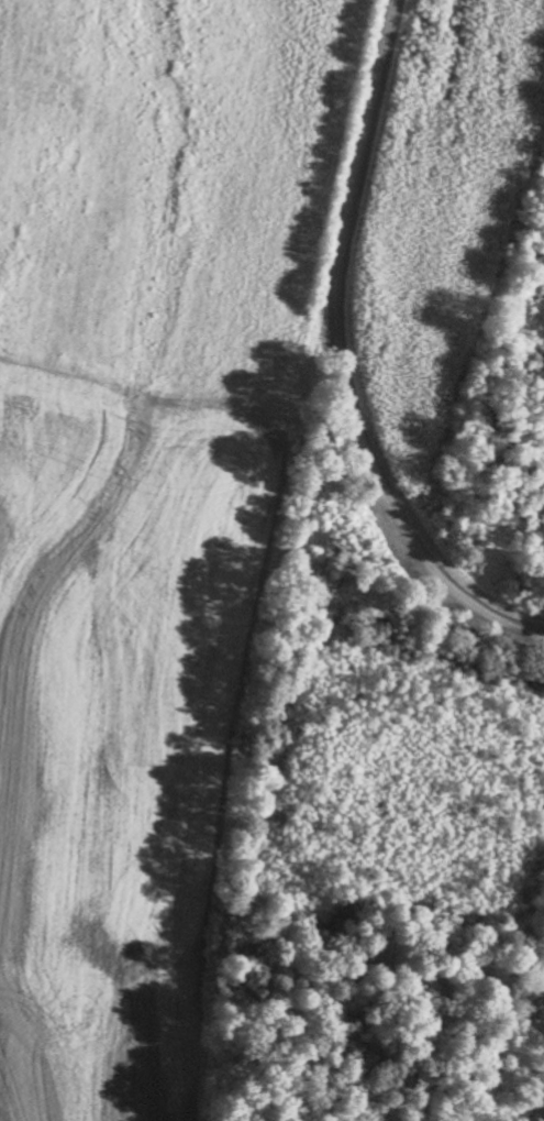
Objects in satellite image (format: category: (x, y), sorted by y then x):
road: (343, 356)

